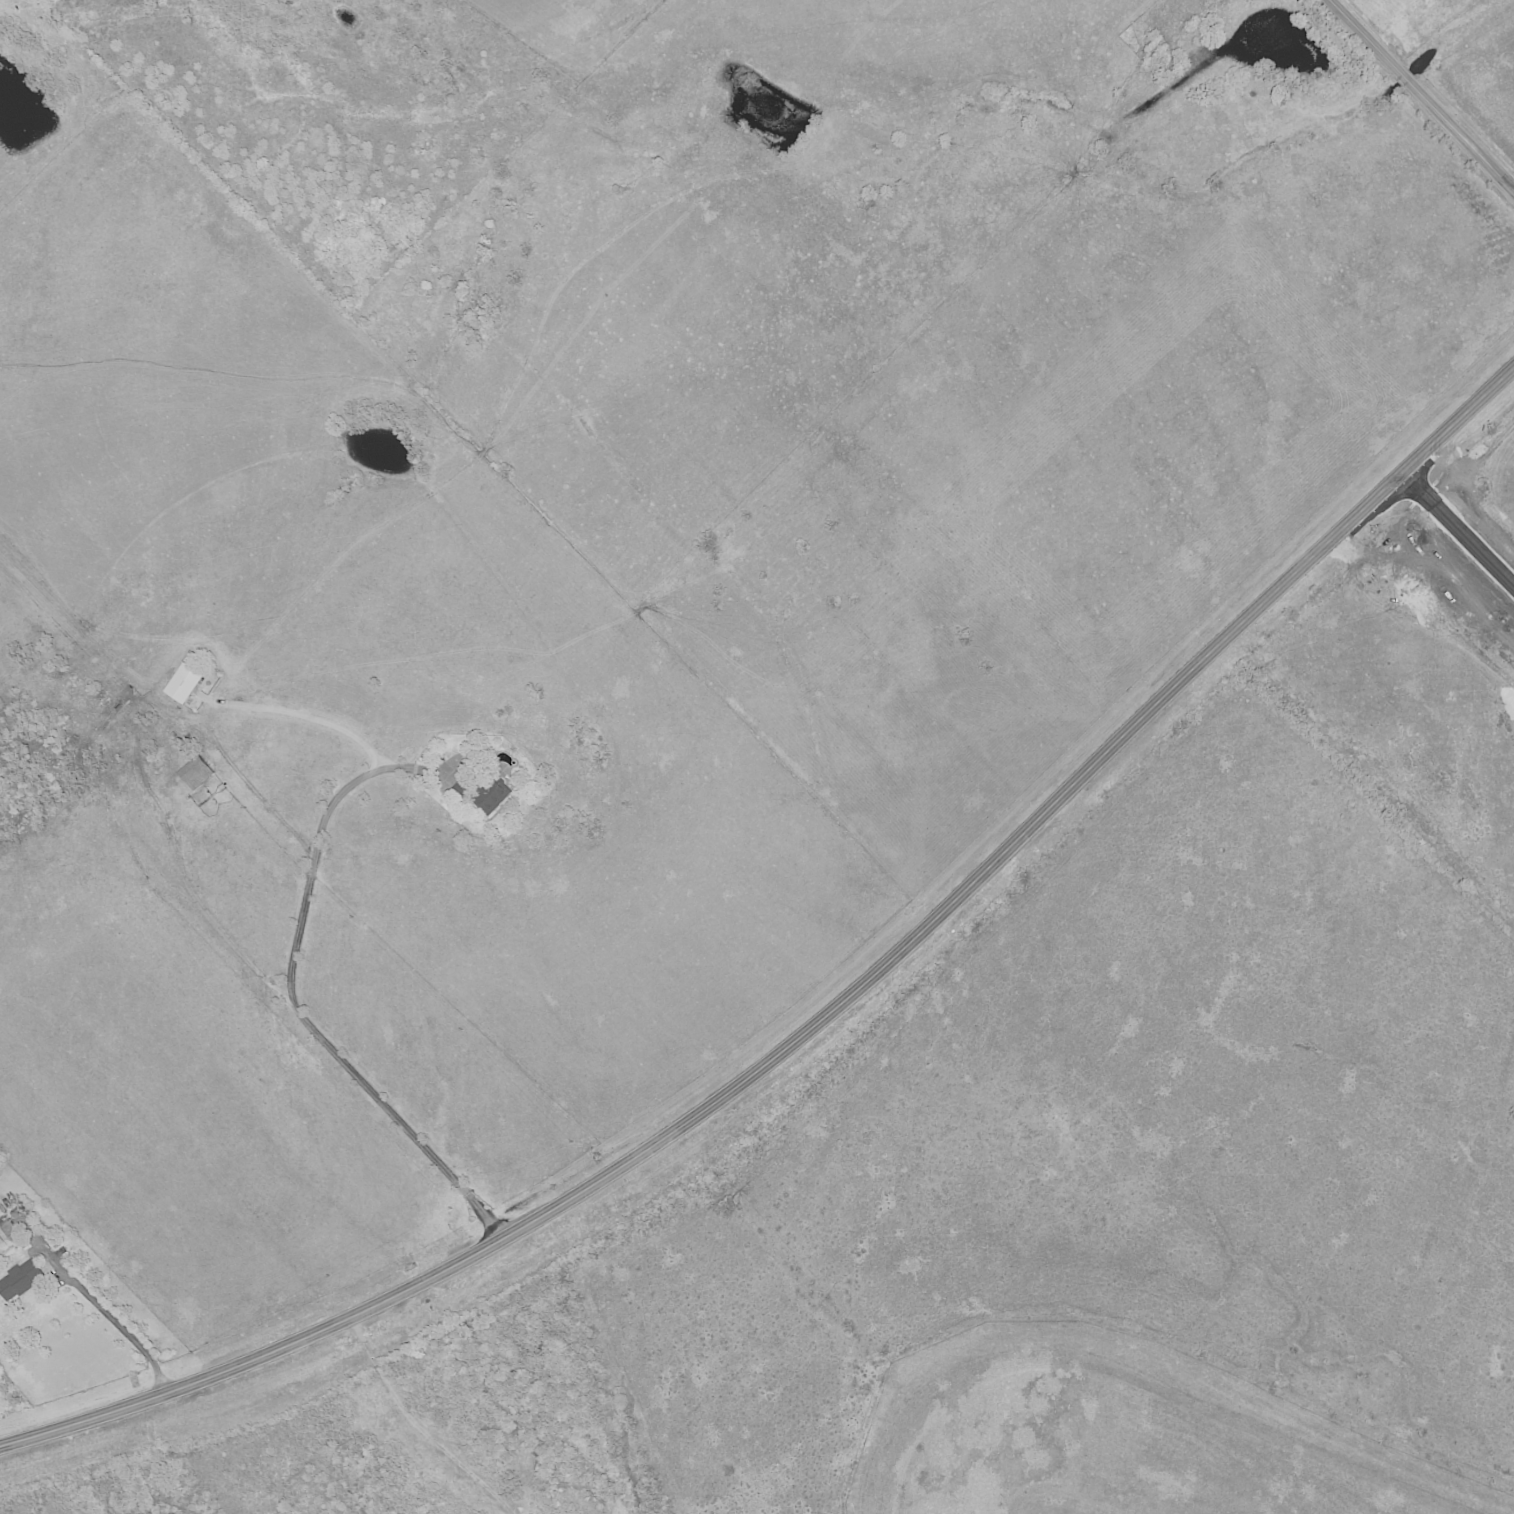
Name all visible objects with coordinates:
road: (1421, 95)
building: (182, 683)
building: (196, 775)
building: (489, 797)
road: (331, 802)
road: (829, 1016)
building: (0, 1242)
building: (19, 1279)
road: (116, 1322)
road: (417, 1424)

